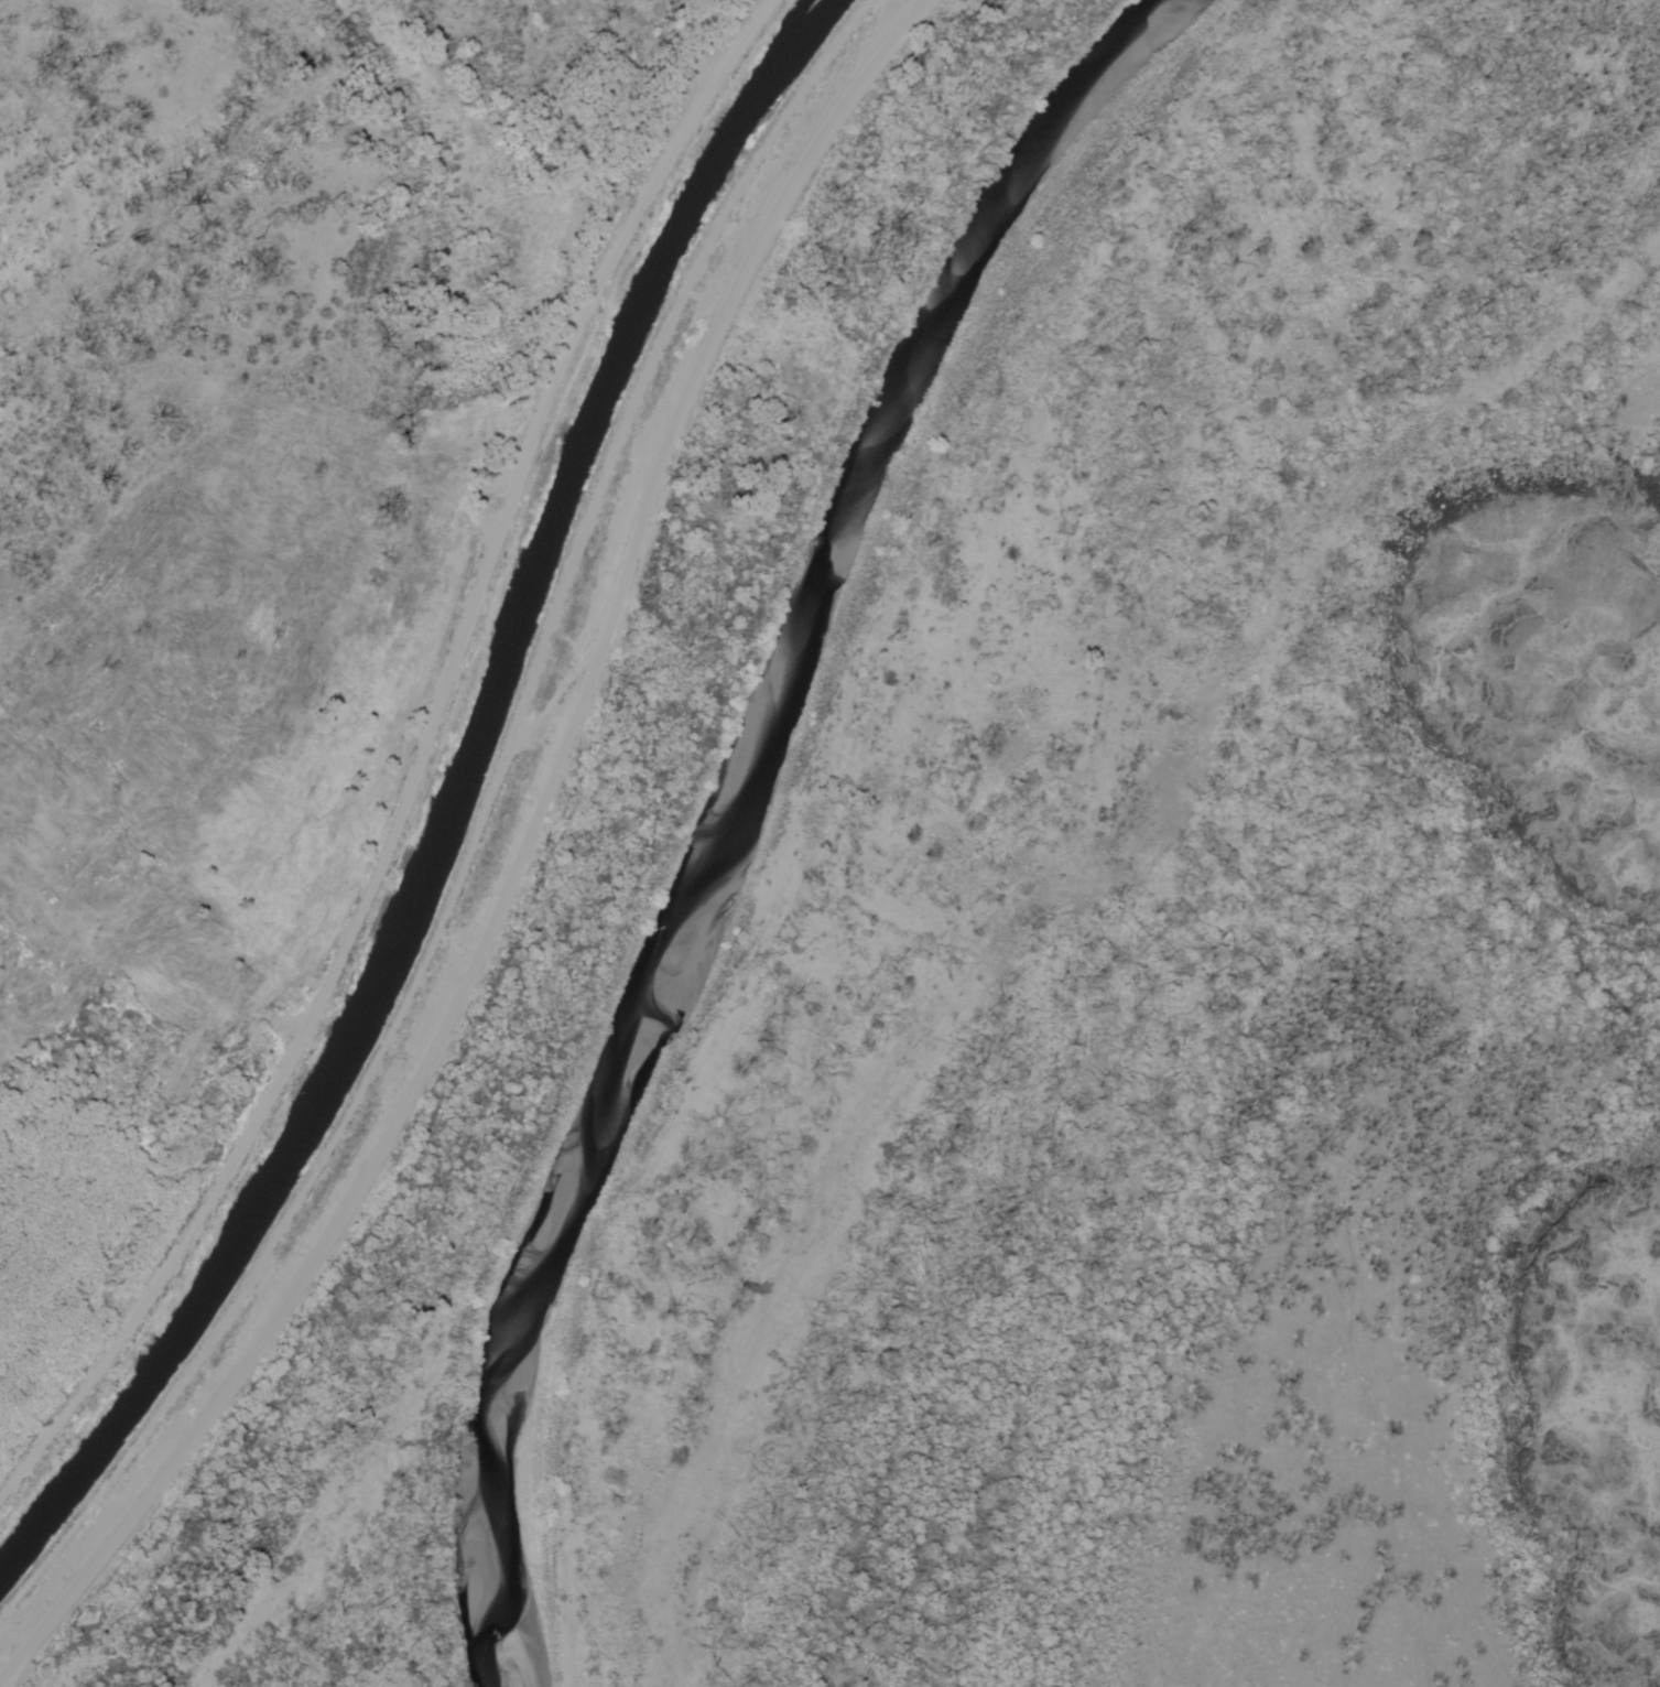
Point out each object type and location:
road: (415, 760)
river: (725, 807)
road: (517, 866)

